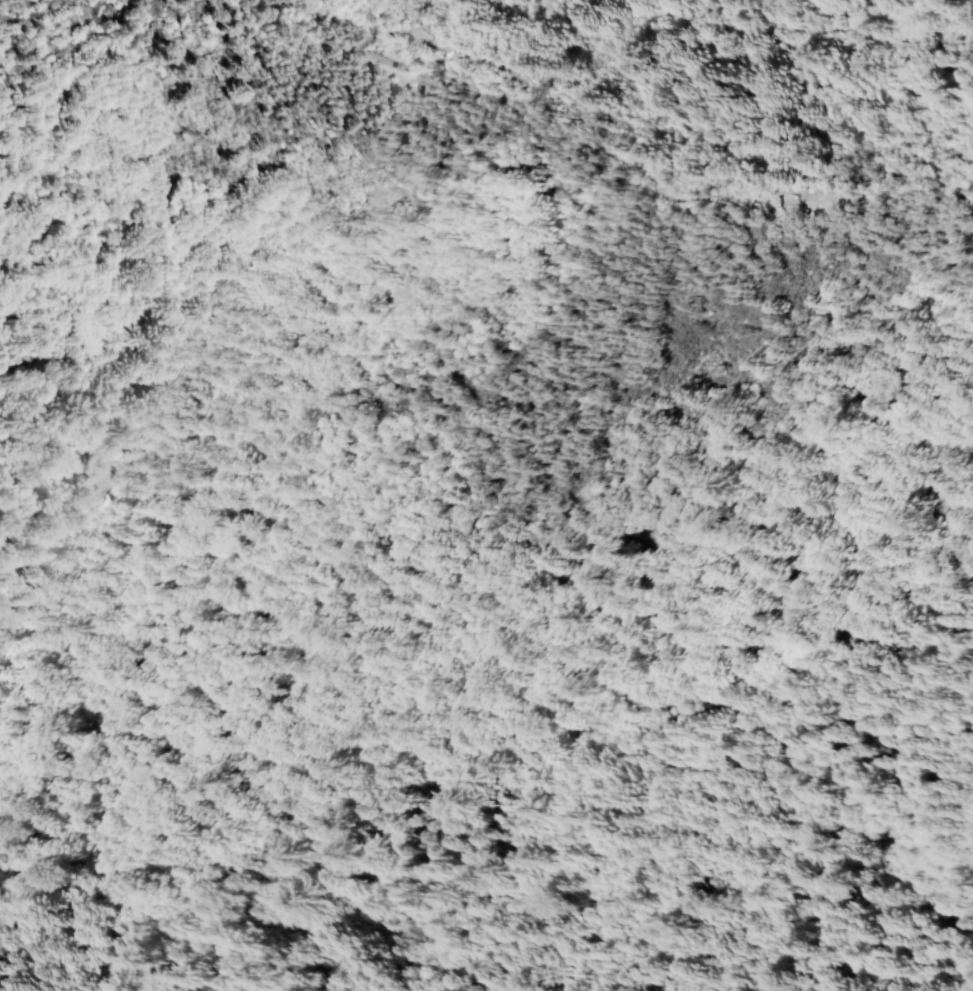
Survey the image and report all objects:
road: (411, 28)
building: (386, 59)
road: (613, 142)

